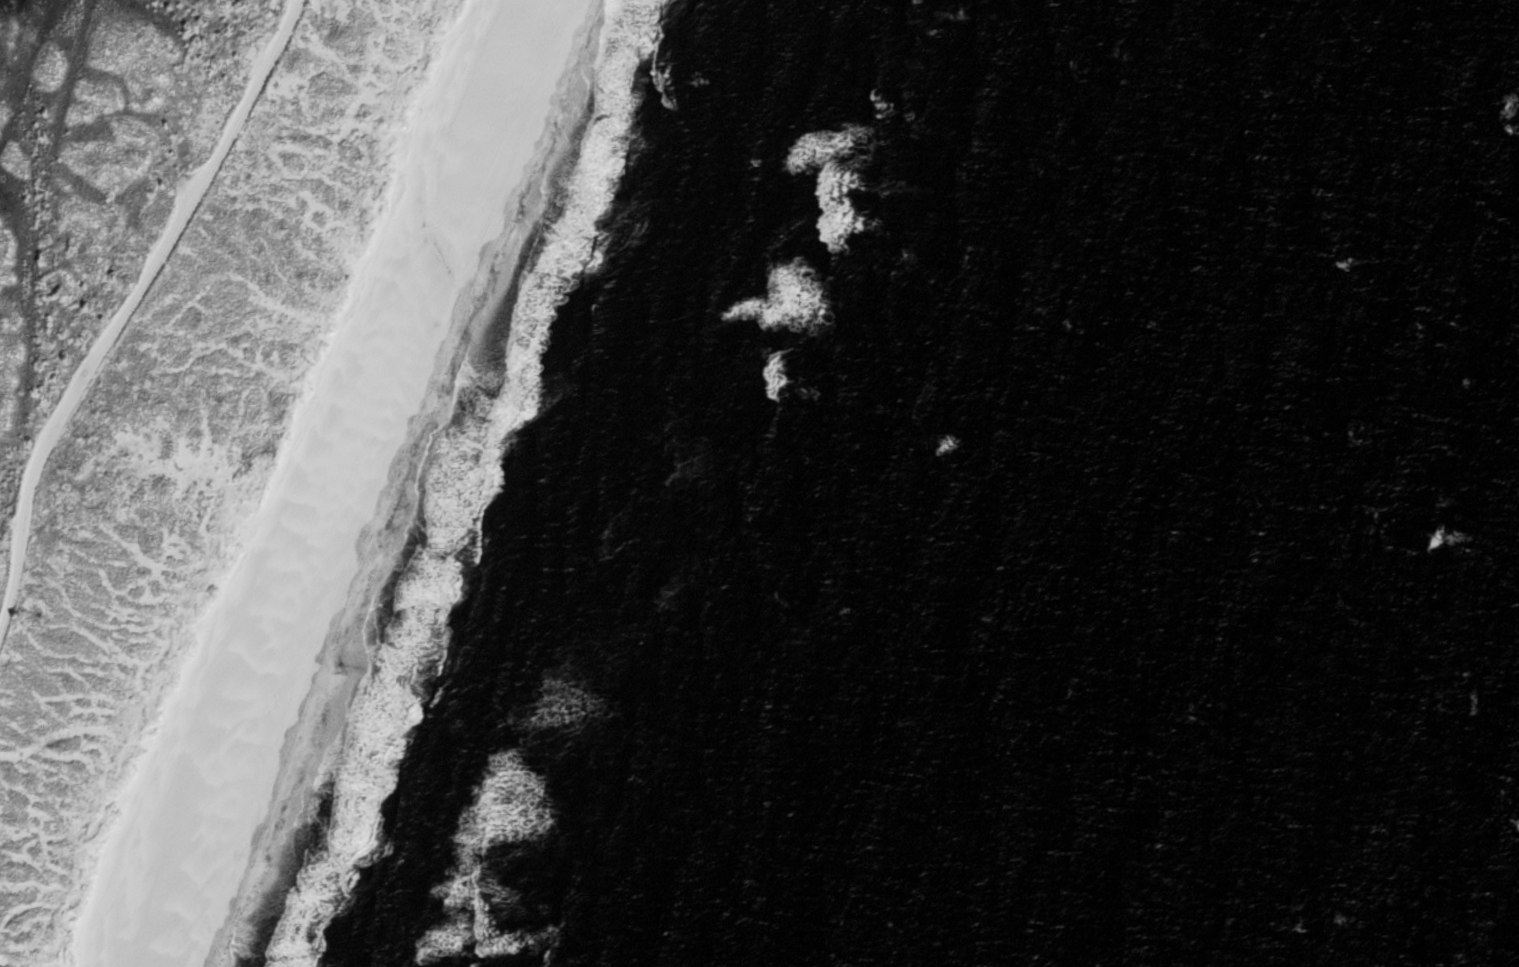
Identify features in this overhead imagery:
road: (125, 309)

